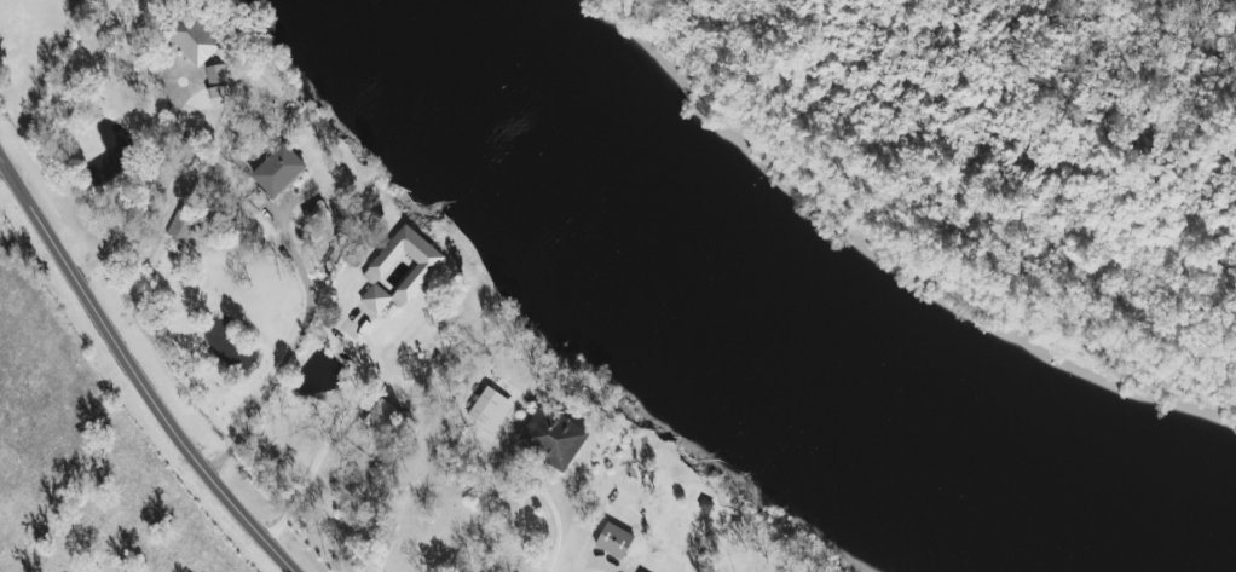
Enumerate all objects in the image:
building: (195, 41)
building: (218, 85)
building: (279, 169)
building: (181, 225)
building: (400, 270)
road: (302, 276)
river: (791, 341)
road: (135, 374)
building: (490, 409)
building: (381, 416)
building: (554, 439)
building: (616, 539)
road: (595, 561)
building: (642, 571)

